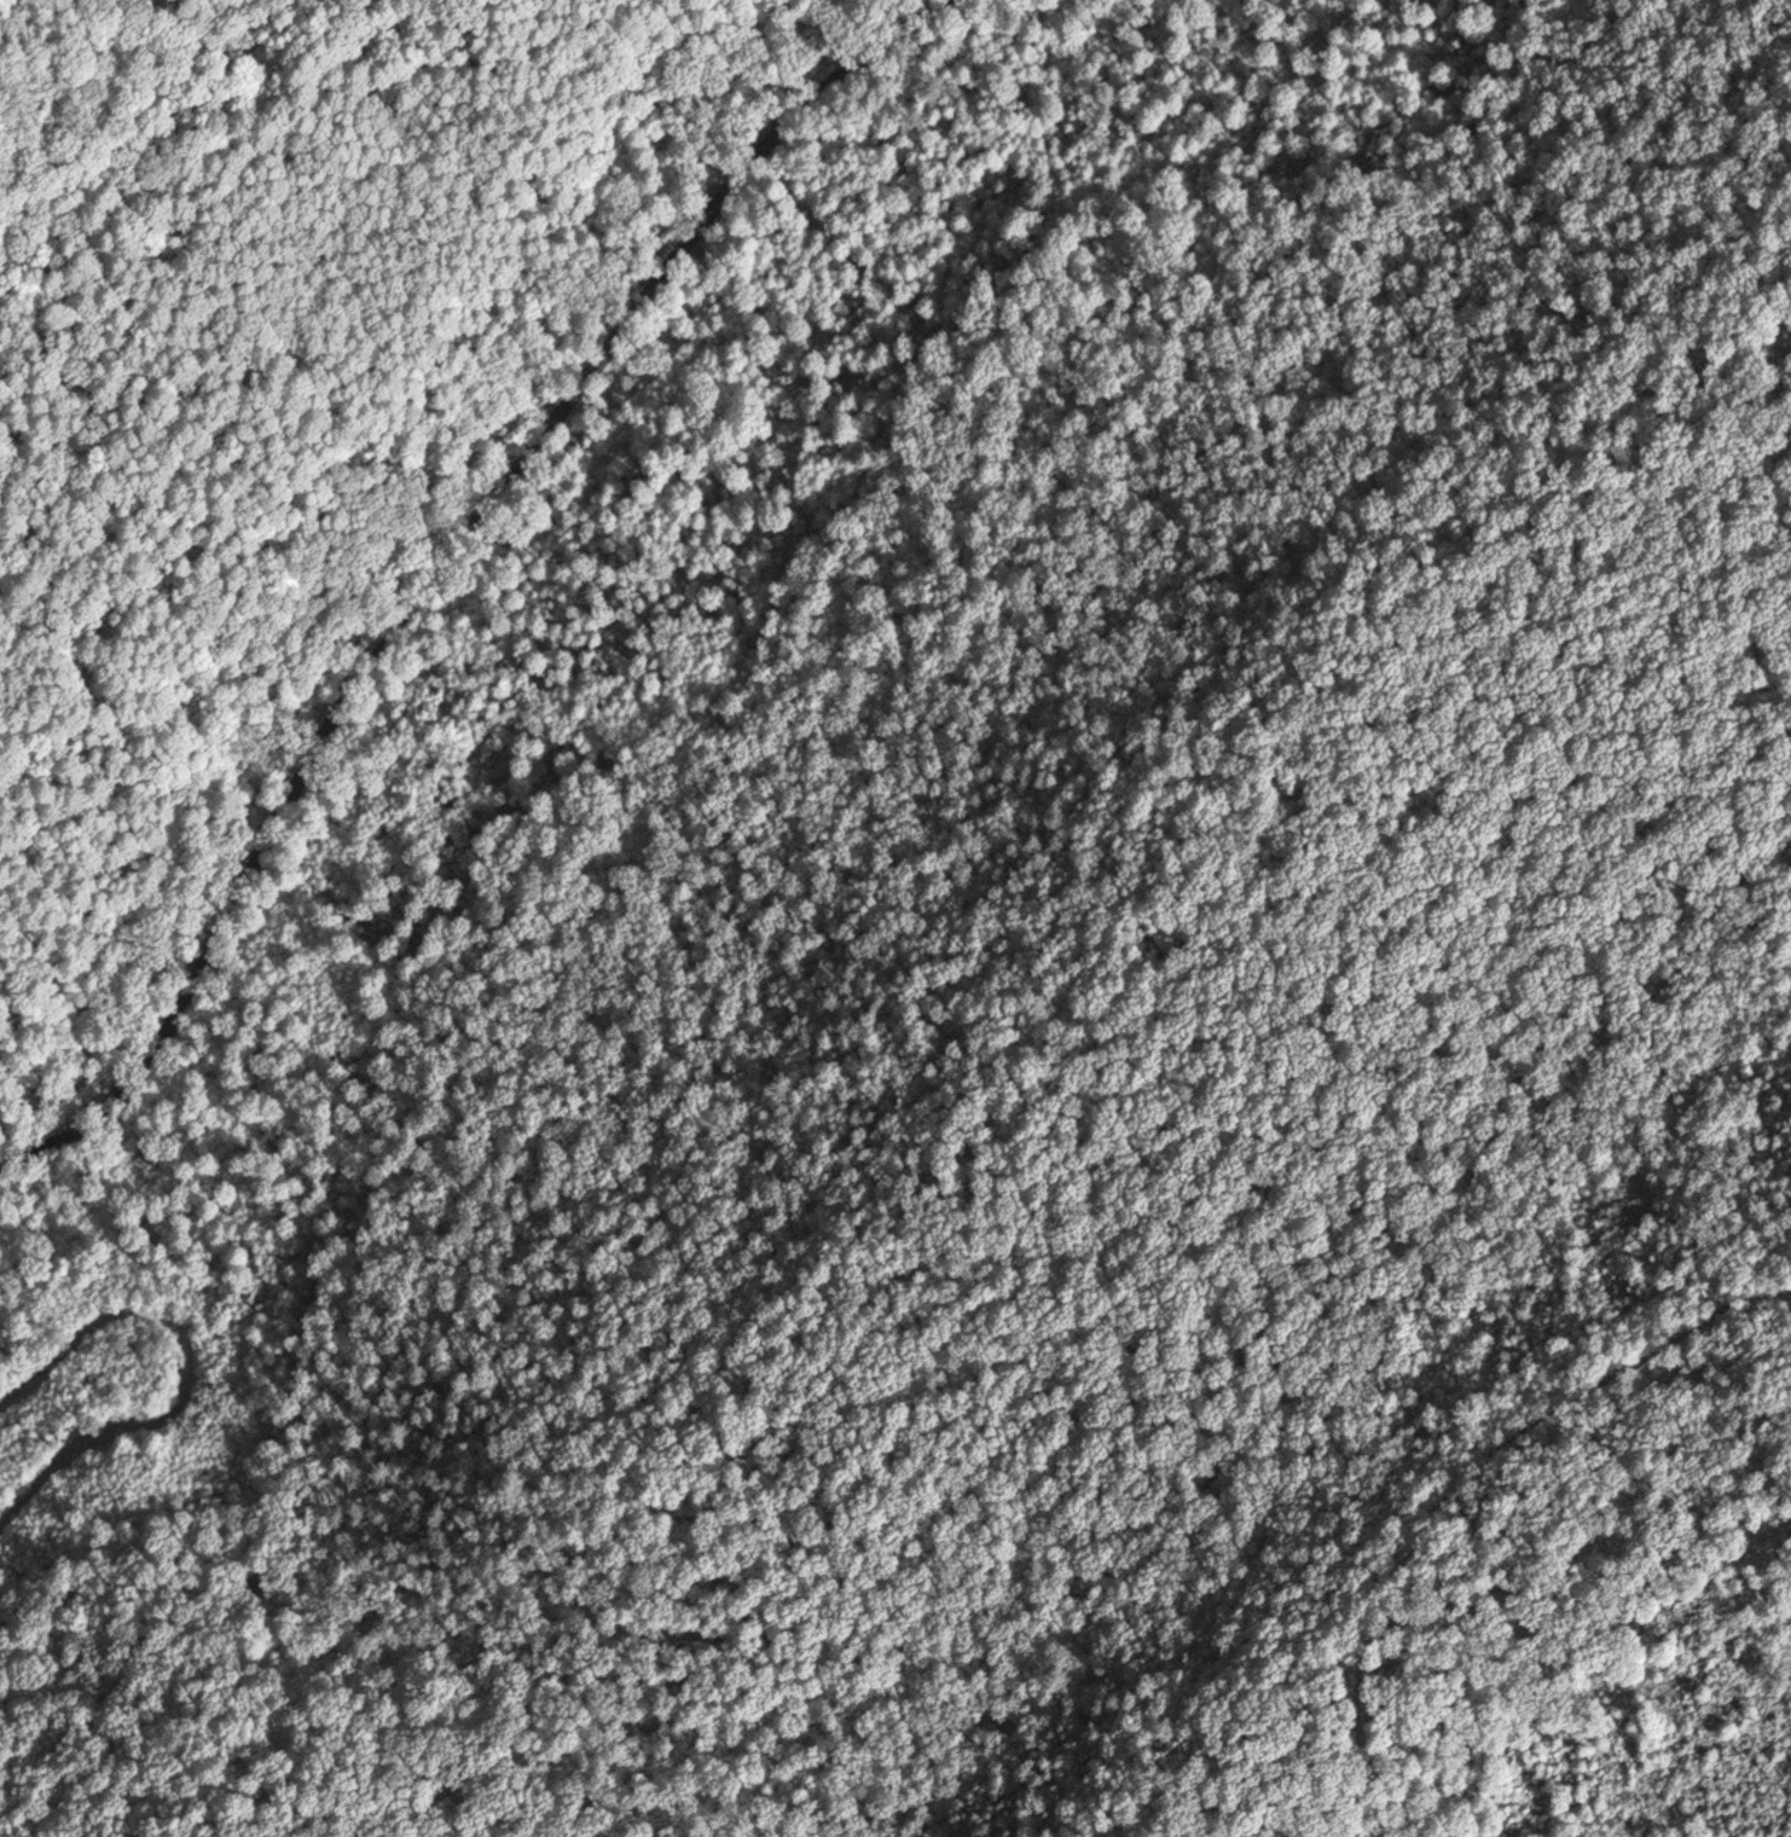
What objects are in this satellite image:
road: (444, 560)
road: (184, 1385)
road: (1460, 1484)

